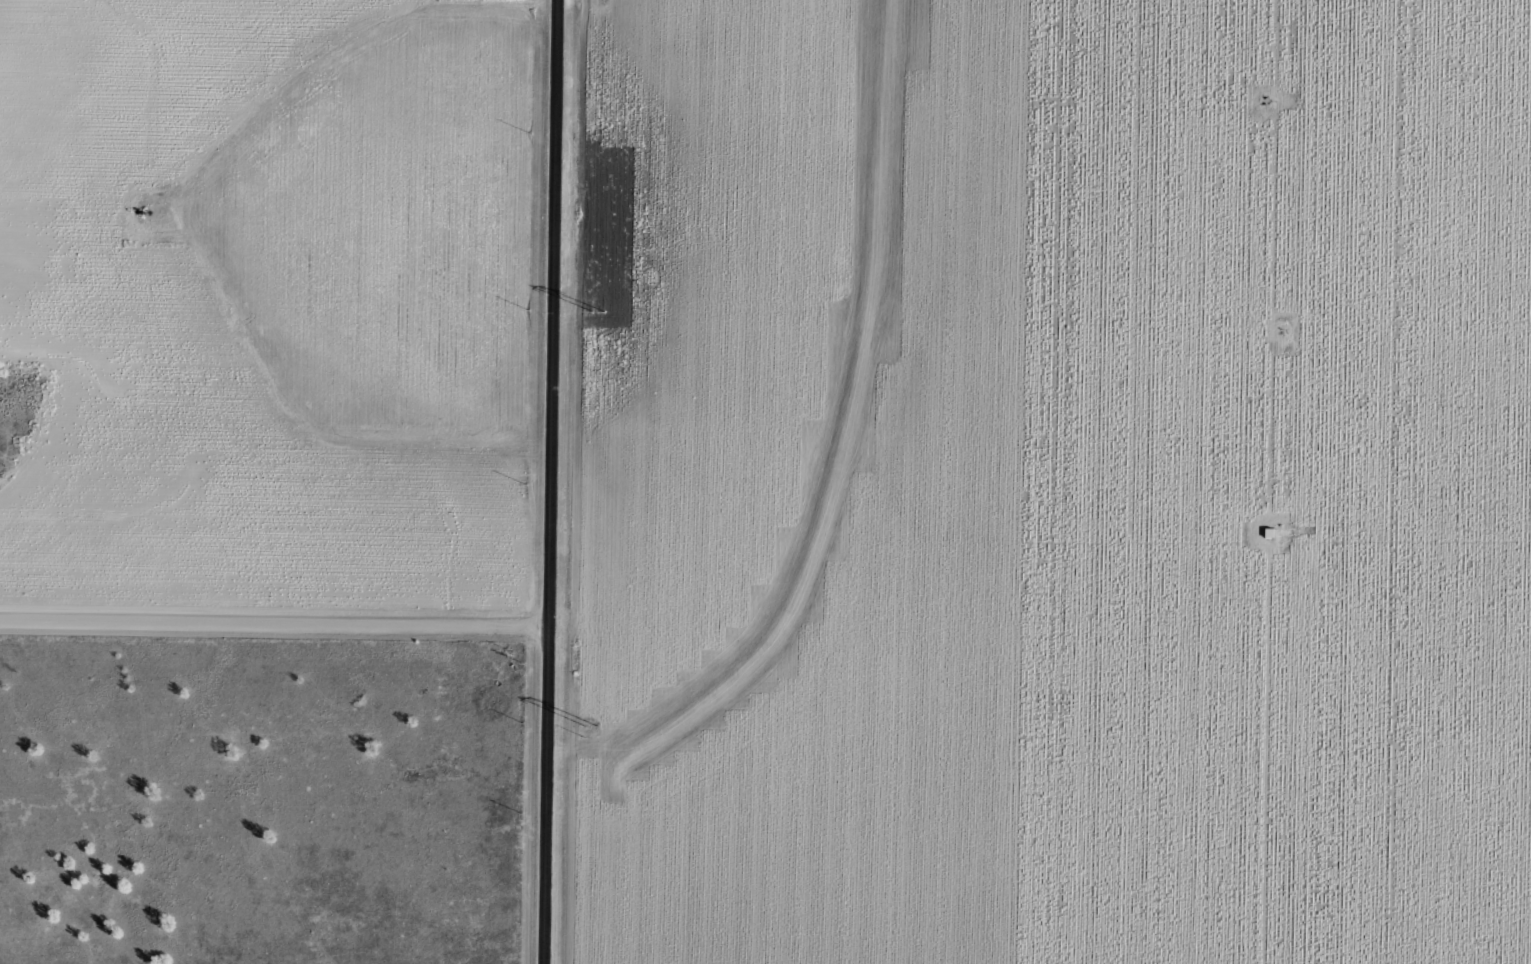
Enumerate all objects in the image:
power tower: (600, 310)
road: (557, 481)
road: (277, 624)
power tower: (593, 725)

